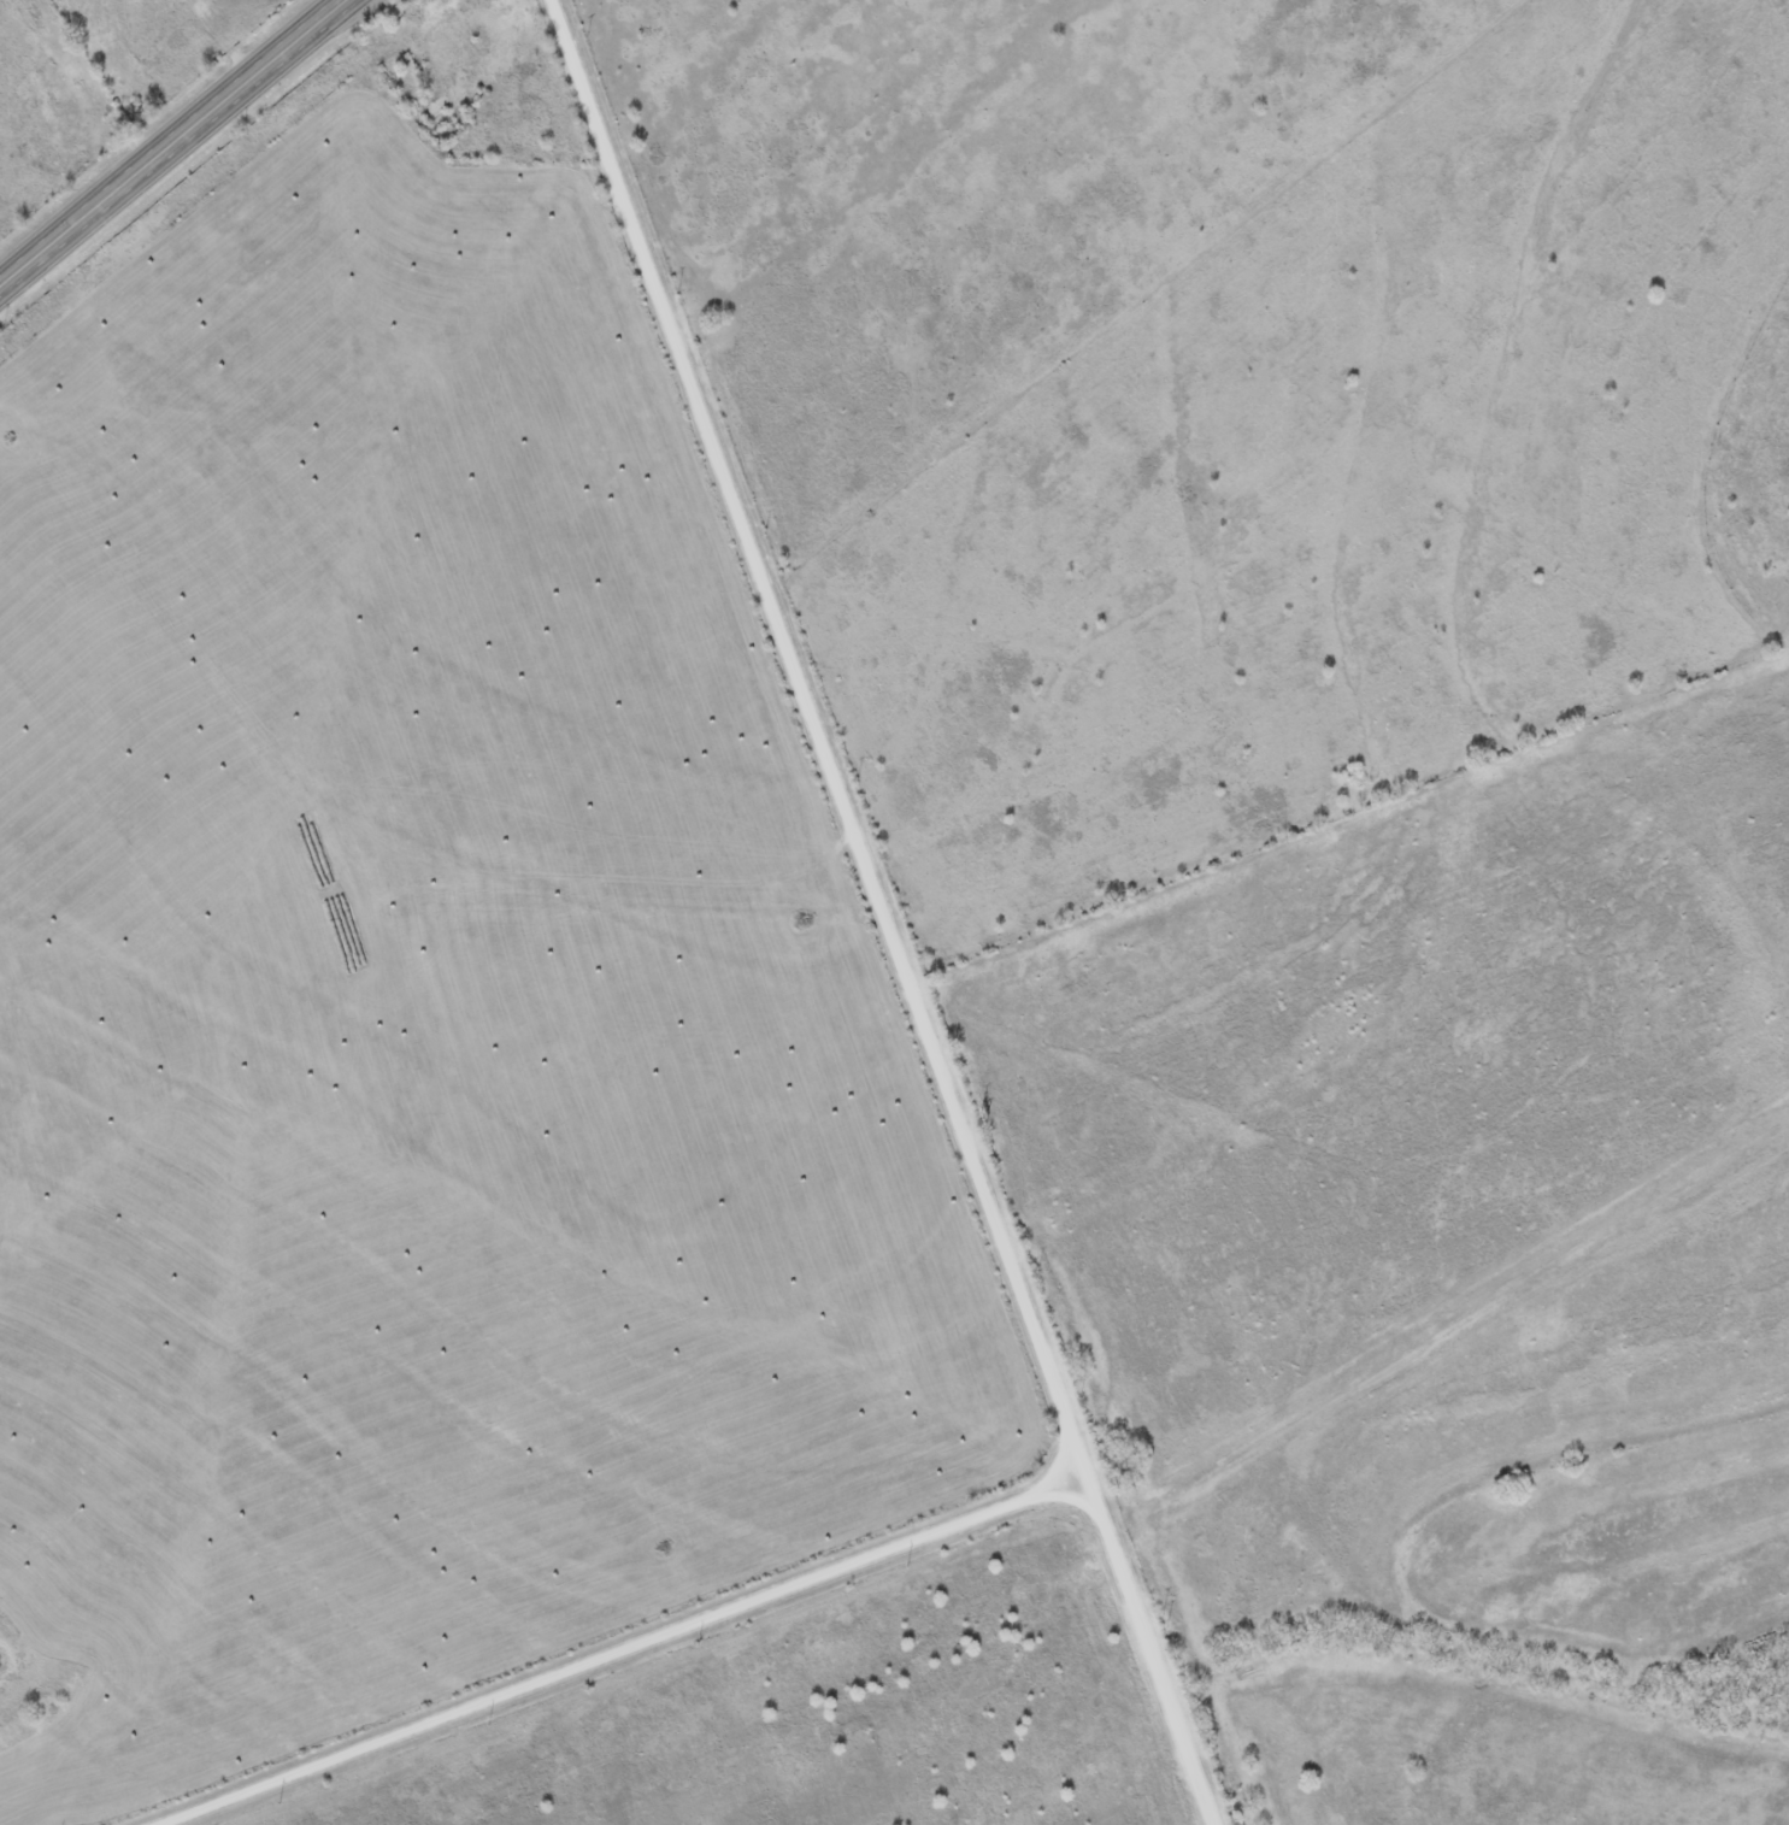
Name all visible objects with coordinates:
road: (176, 146)
road: (889, 911)
road: (625, 1650)

